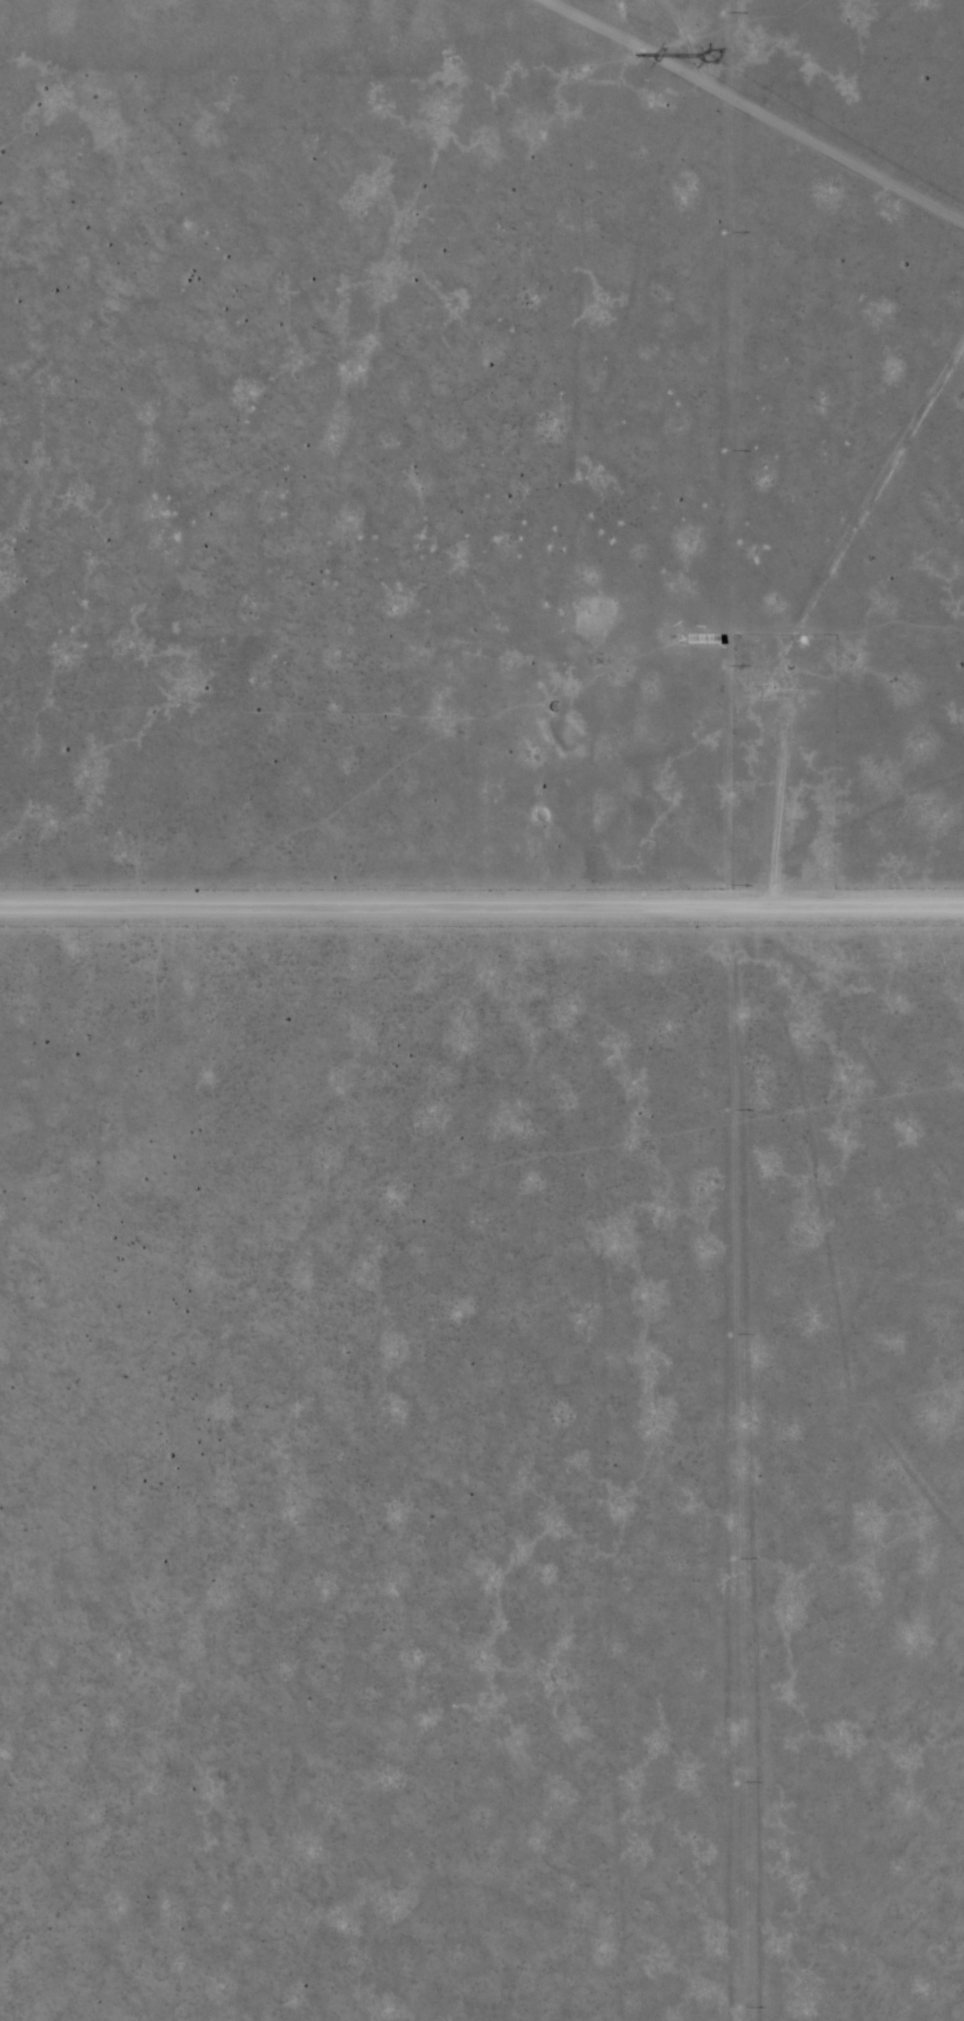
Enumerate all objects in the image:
power tower: (634, 53)
building: (697, 641)
road: (482, 889)

